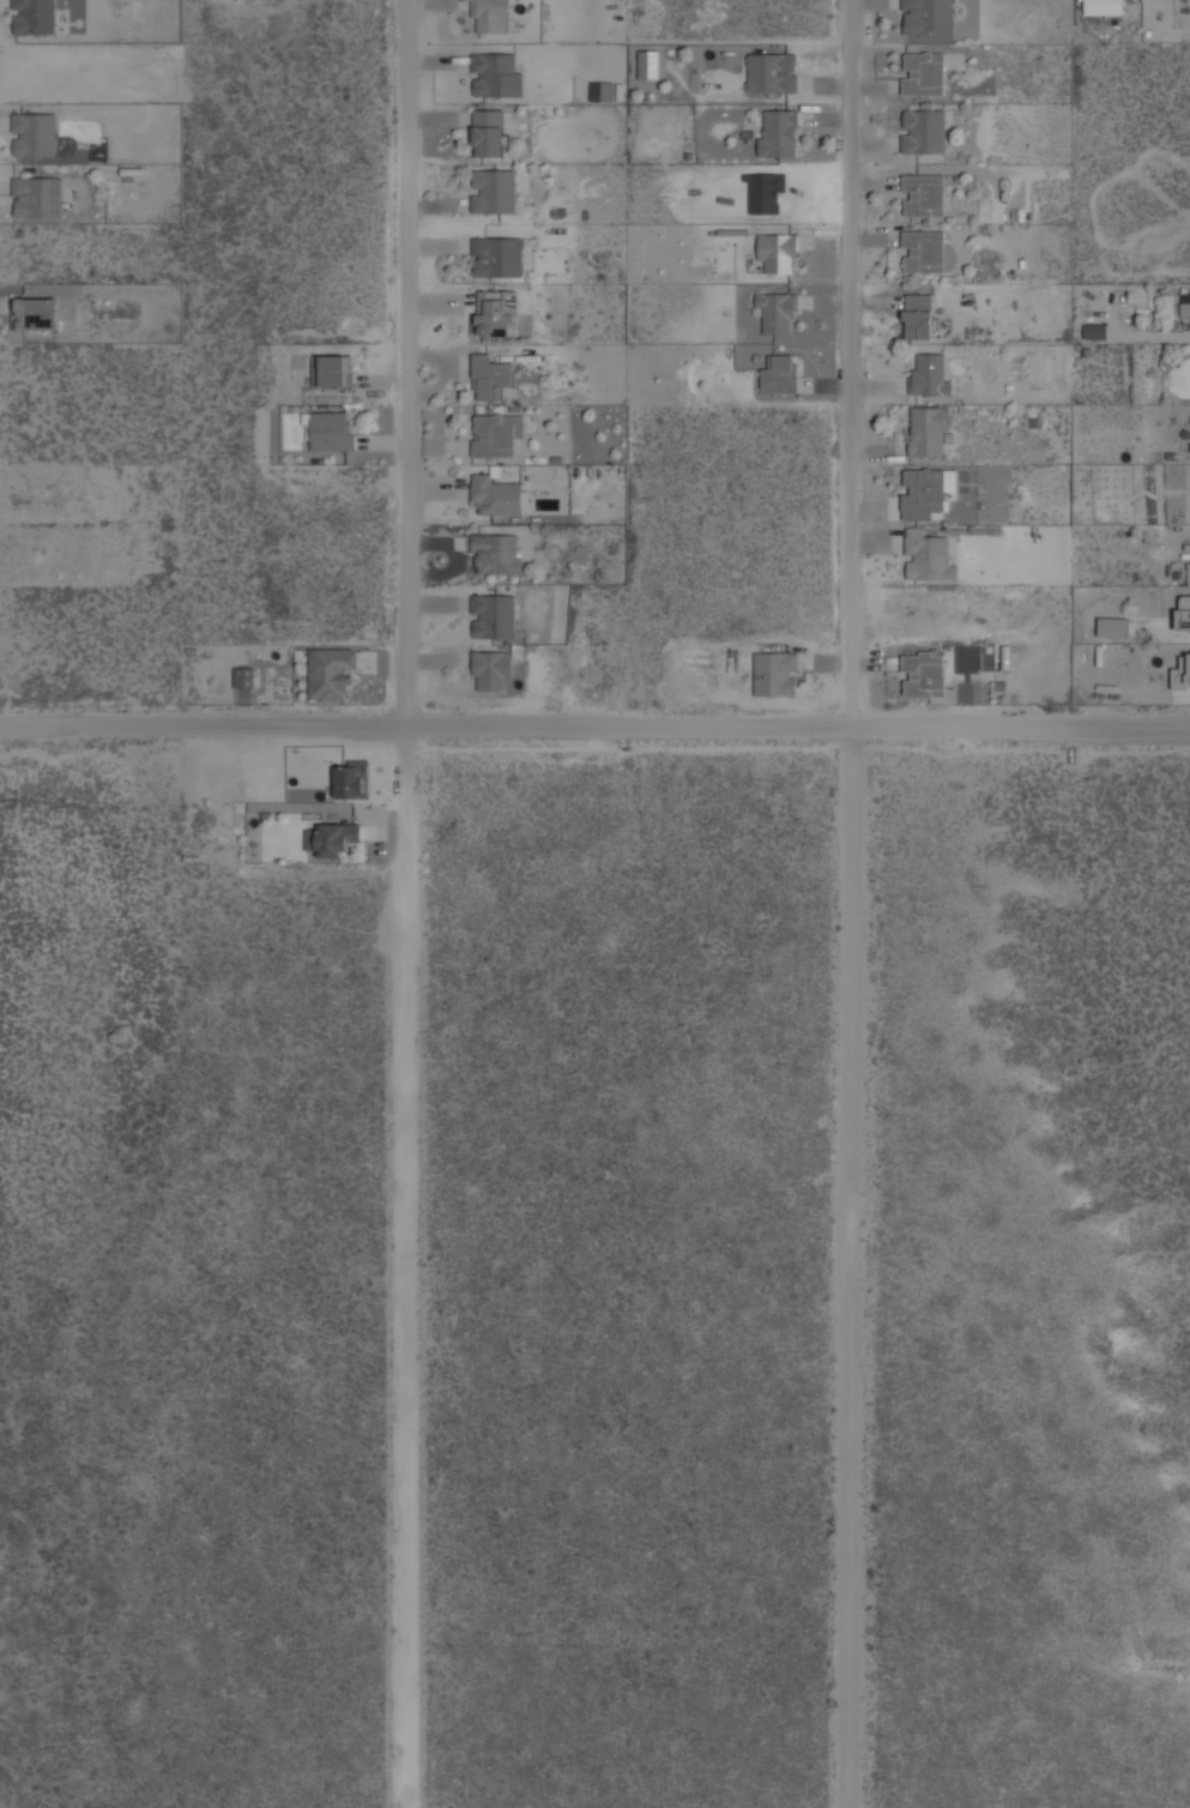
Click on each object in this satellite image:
building: (1103, 7)
building: (929, 16)
building: (34, 17)
building: (490, 17)
building: (647, 64)
building: (772, 72)
building: (924, 73)
building: (496, 76)
building: (600, 91)
building: (923, 131)
building: (489, 132)
building: (777, 132)
building: (34, 134)
building: (494, 189)
building: (924, 194)
building: (36, 198)
building: (924, 251)
building: (778, 252)
building: (497, 257)
building: (1184, 309)
building: (777, 312)
building: (495, 313)
building: (37, 314)
building: (919, 317)
building: (1095, 331)
building: (334, 370)
building: (779, 373)
building: (930, 374)
building: (489, 376)
building: (331, 430)
building: (930, 430)
building: (496, 433)
building: (926, 490)
building: (495, 494)
building: (495, 554)
building: (929, 558)
building: (1183, 611)
building: (493, 616)
building: (1113, 626)
building: (491, 669)
building: (331, 671)
building: (775, 673)
building: (1180, 673)
building: (923, 674)
building: (243, 676)
road: (594, 725)
building: (352, 778)
building: (332, 838)
road: (404, 904)
road: (848, 904)

